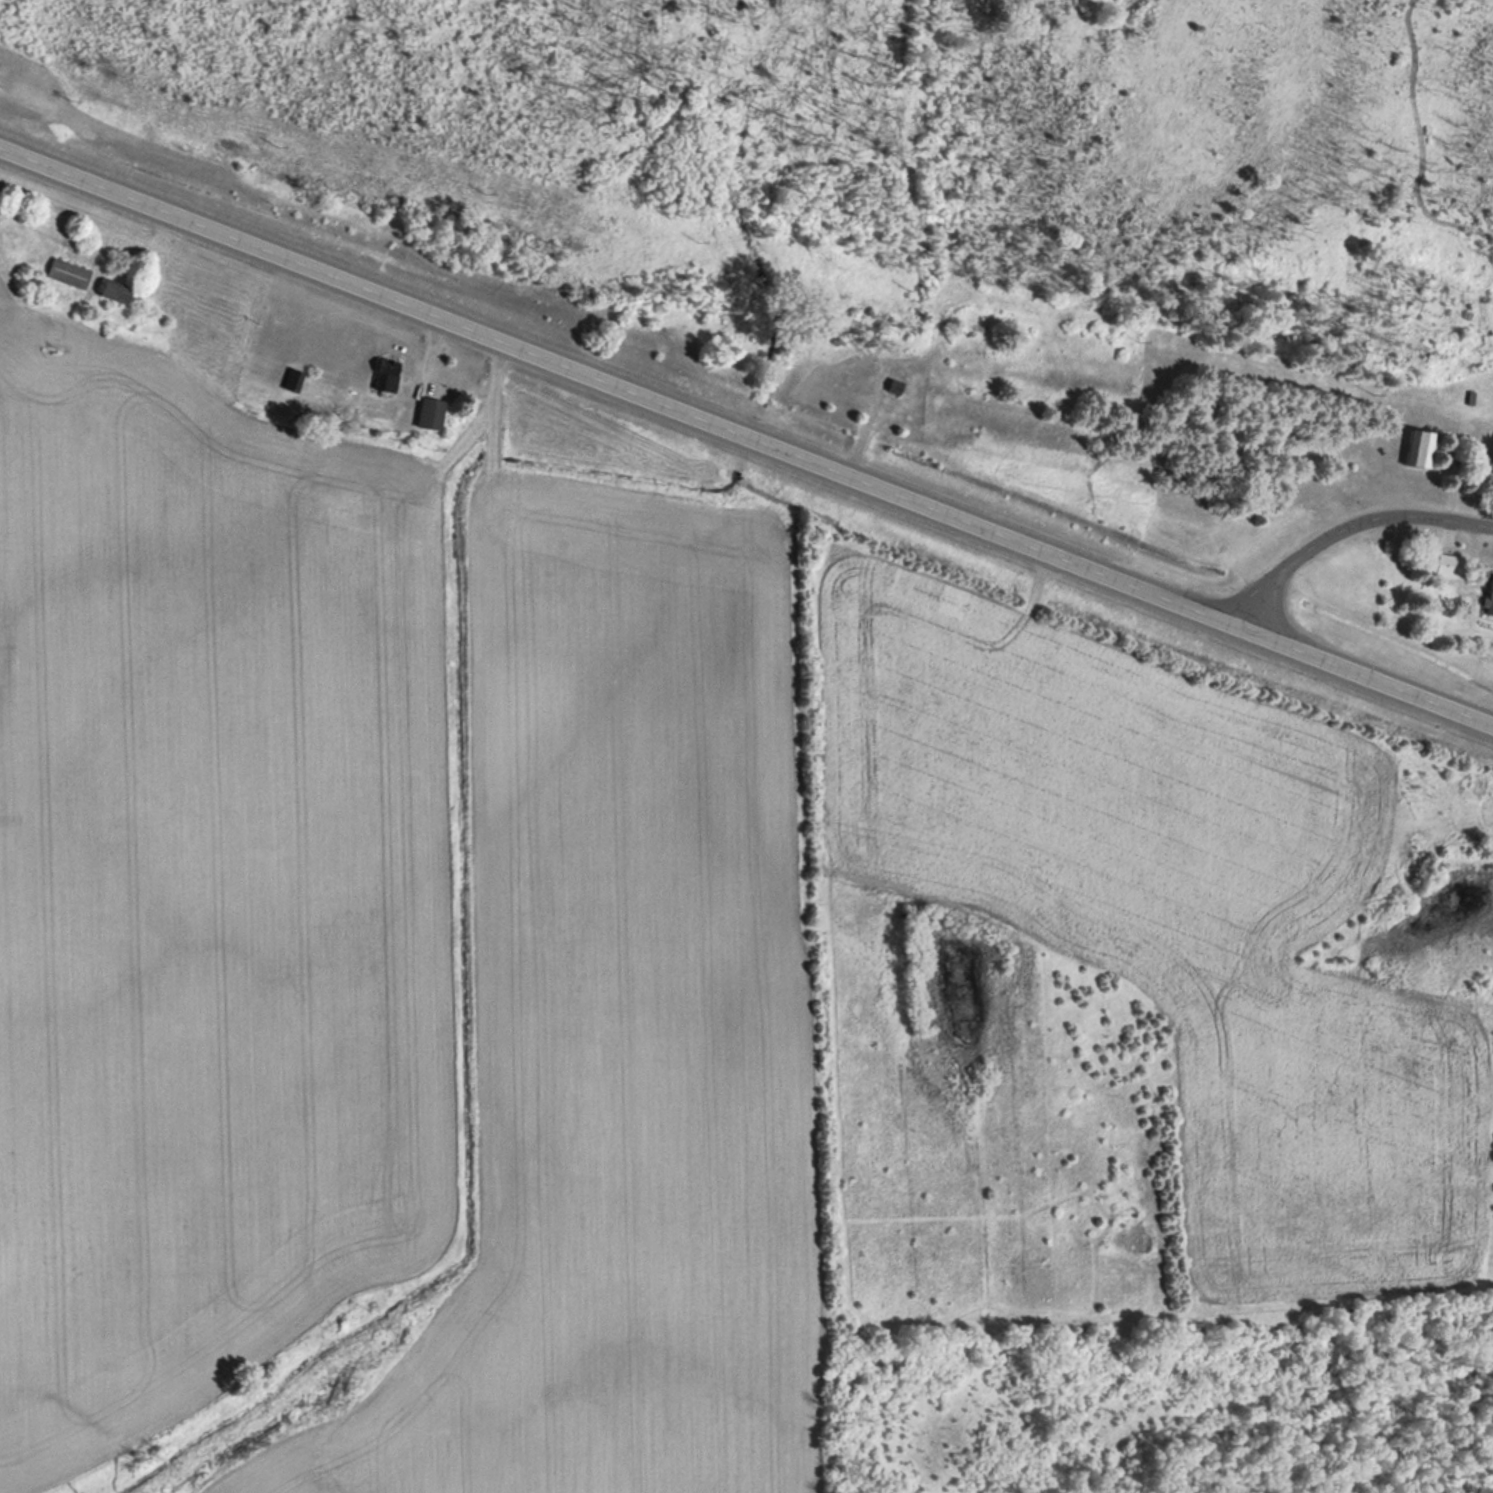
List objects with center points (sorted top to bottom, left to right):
building: (70, 274)
building: (115, 292)
building: (386, 377)
building: (294, 382)
building: (895, 387)
building: (431, 415)
road: (746, 434)
building: (1419, 451)
road: (1345, 527)
building: (1444, 566)
building: (1487, 597)

